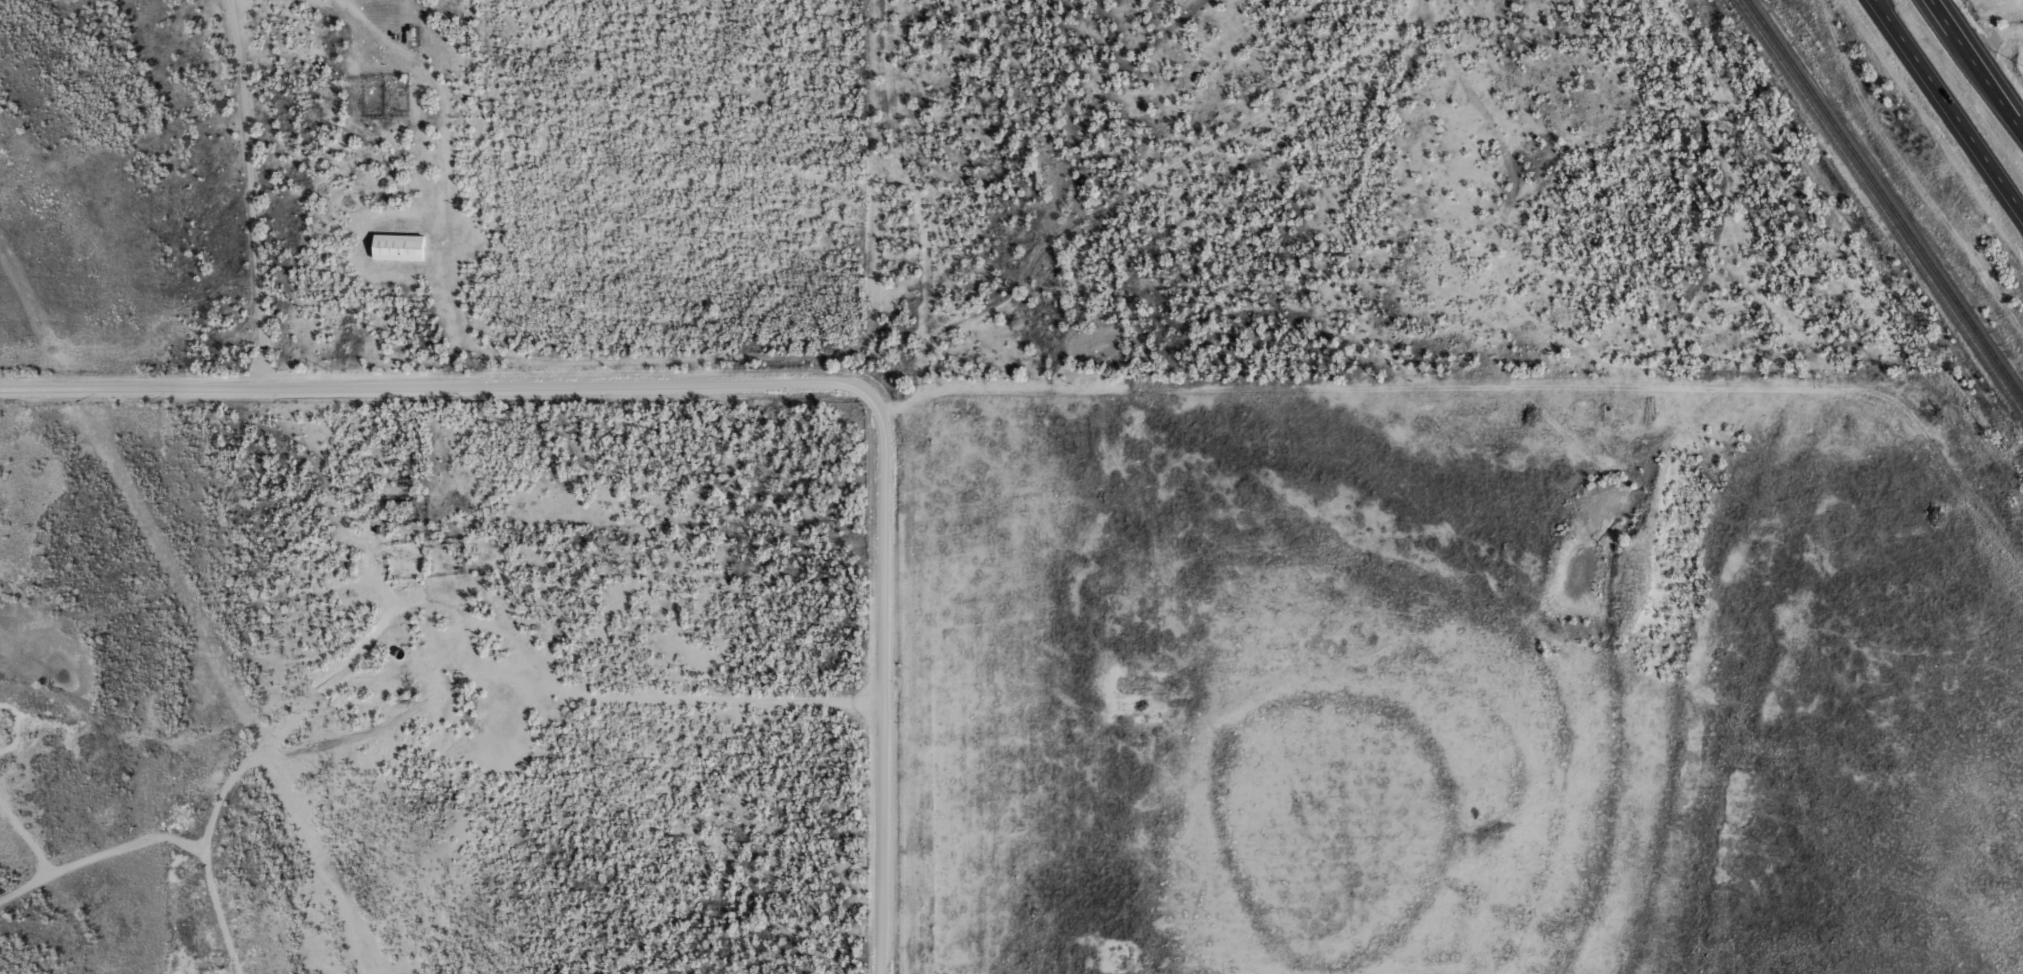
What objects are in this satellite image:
building: (414, 37)
road: (1973, 70)
road: (443, 97)
road: (1951, 103)
road: (246, 189)
railway: (1886, 197)
railway: (1881, 204)
building: (399, 248)
road: (729, 382)
building: (457, 676)

